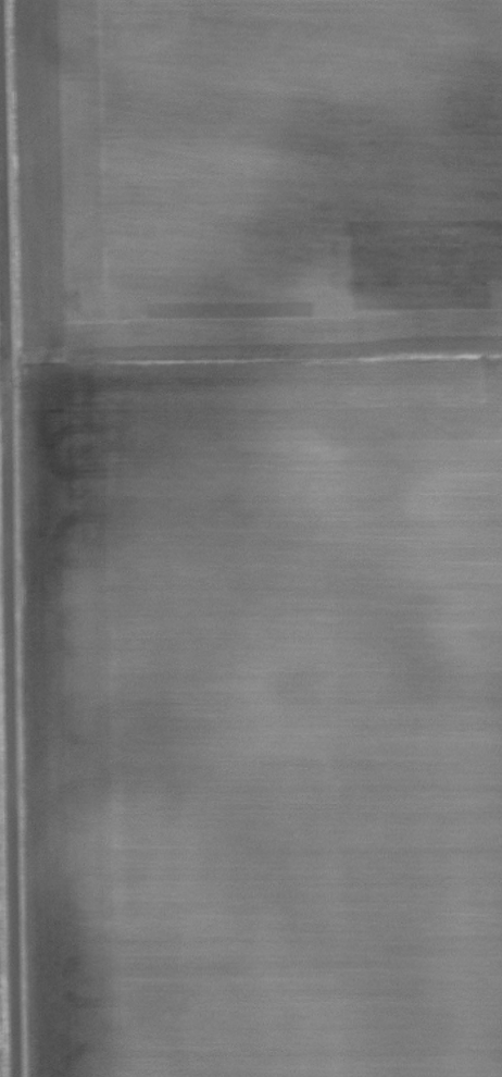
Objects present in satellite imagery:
road: (2, 369)
road: (8, 594)

